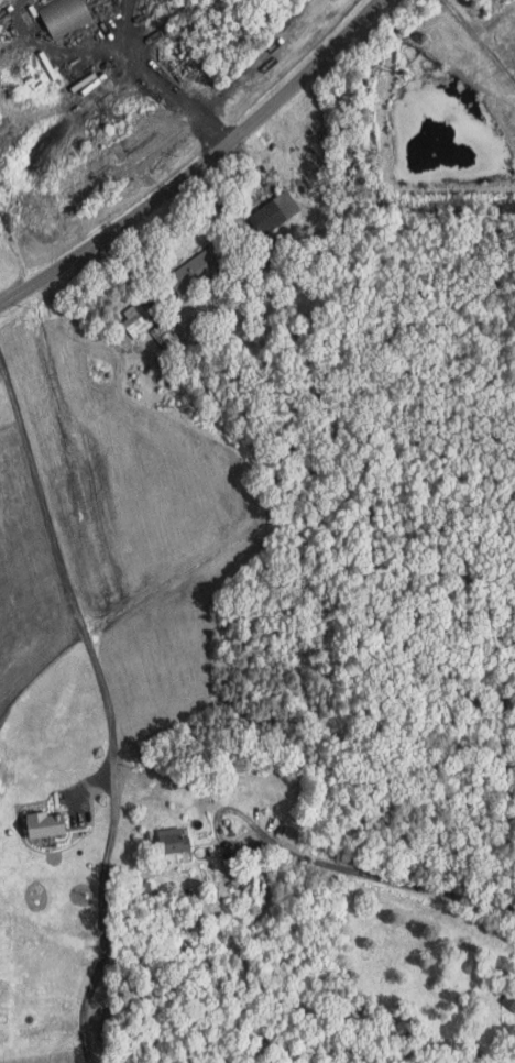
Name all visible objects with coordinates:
building: (65, 14)
road: (167, 80)
road: (197, 164)
building: (275, 211)
building: (199, 265)
building: (138, 317)
building: (164, 330)
road: (2, 372)
road: (211, 504)
road: (65, 579)
building: (47, 822)
building: (176, 839)
road: (502, 843)
road: (375, 870)
road: (101, 908)
building: (511, 997)
building: (99, 1009)

